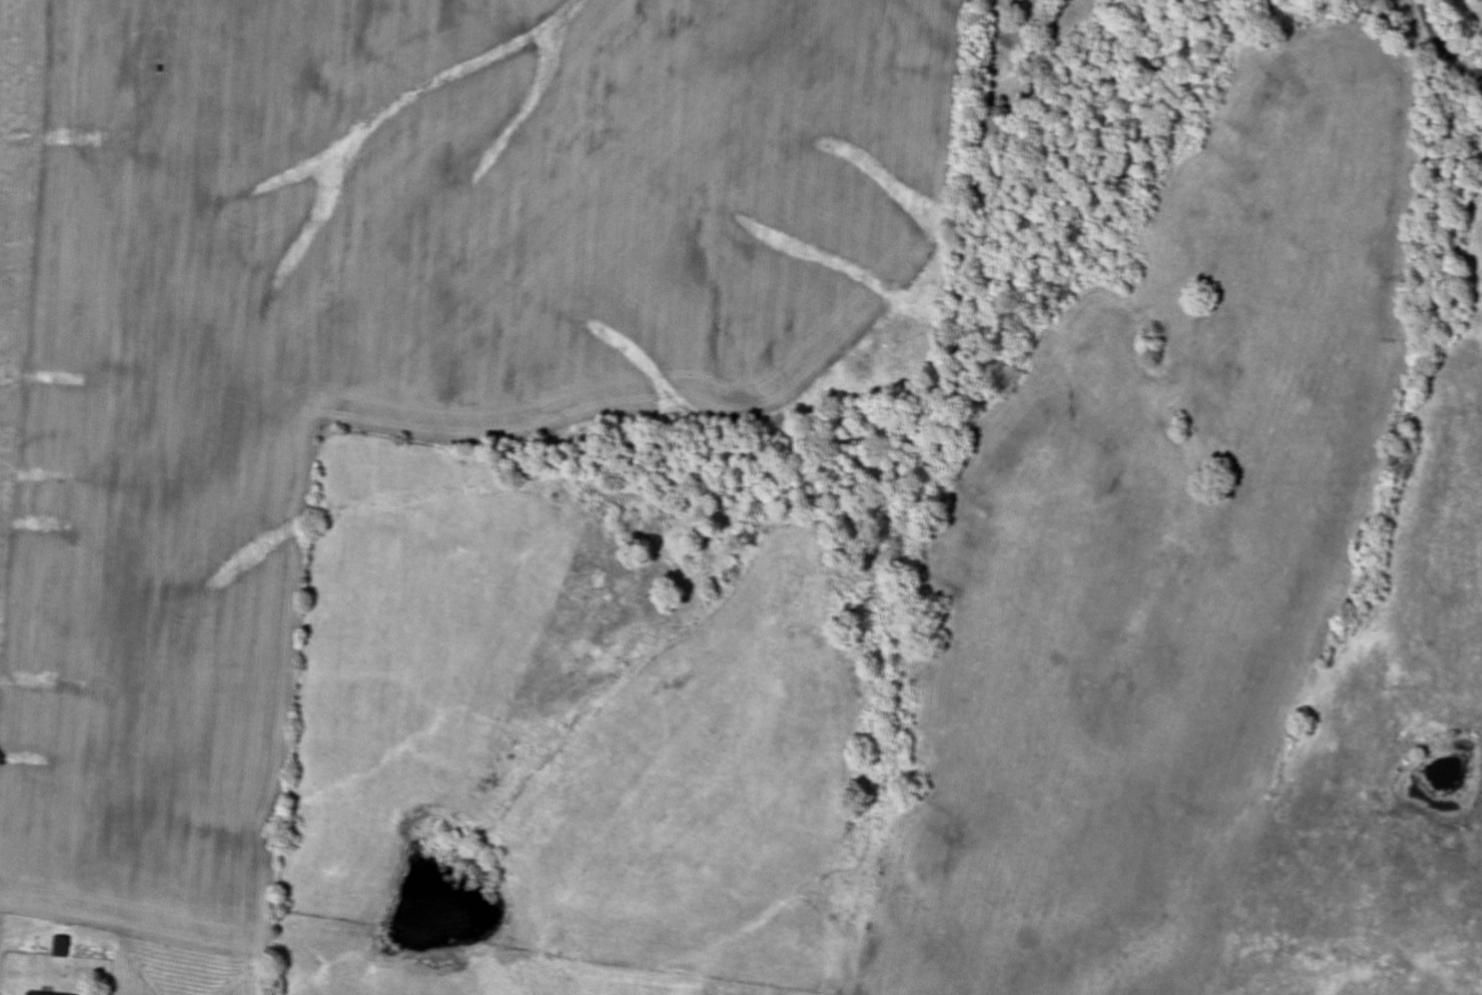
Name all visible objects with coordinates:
road: (1441, 48)
building: (38, 994)

